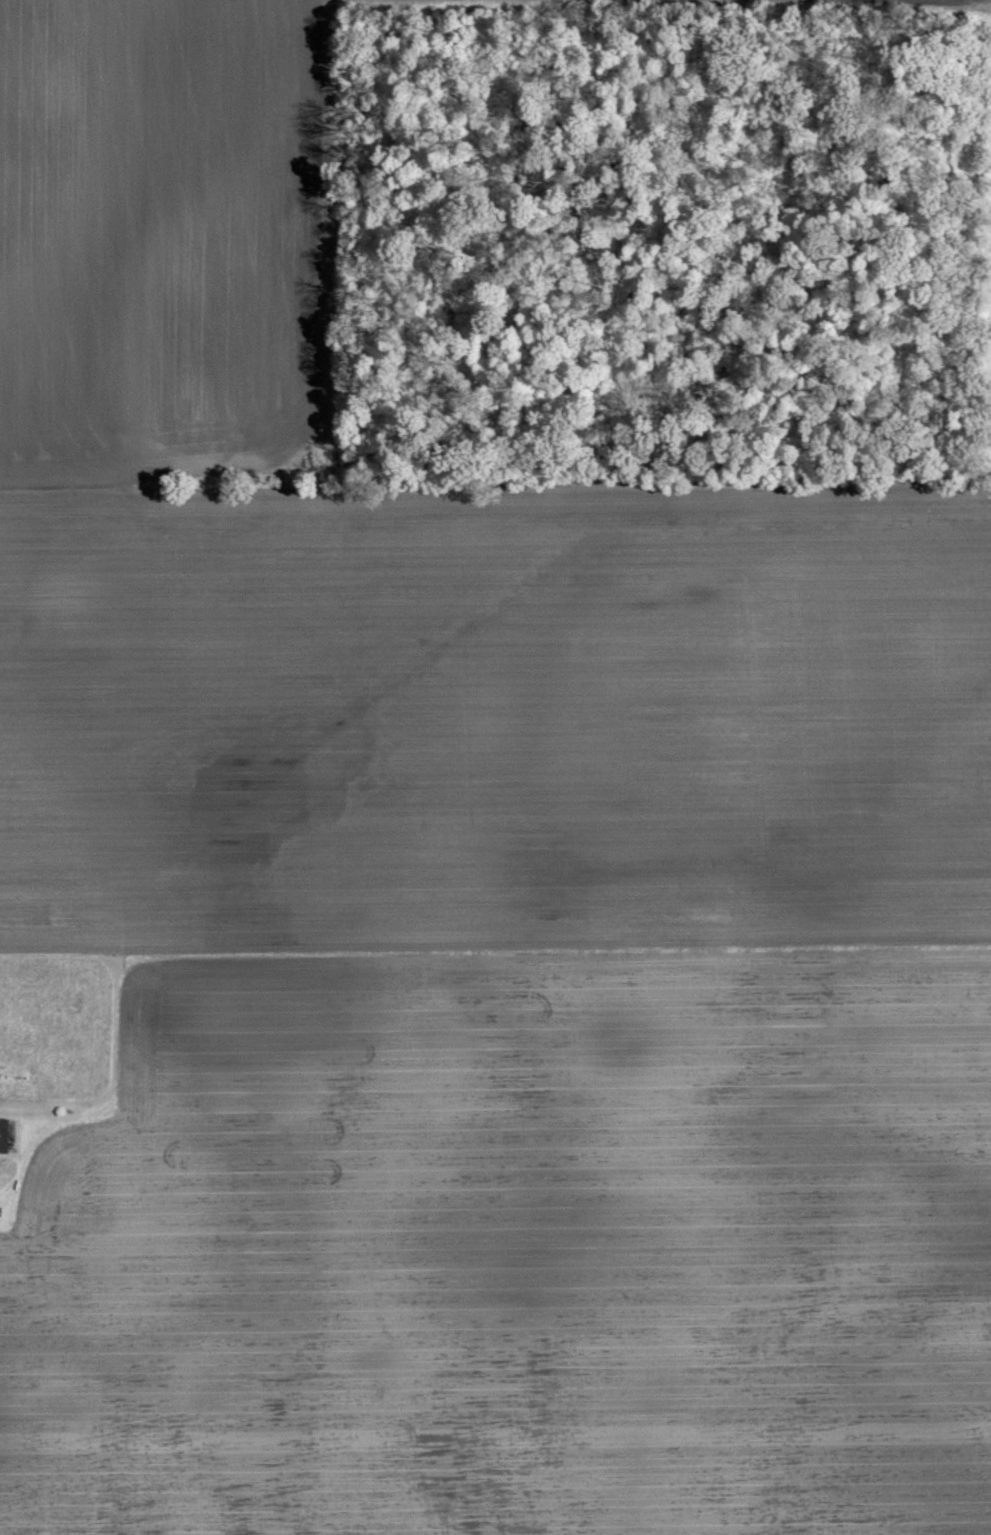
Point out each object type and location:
crop: (463, 890)
building: (0, 1130)

